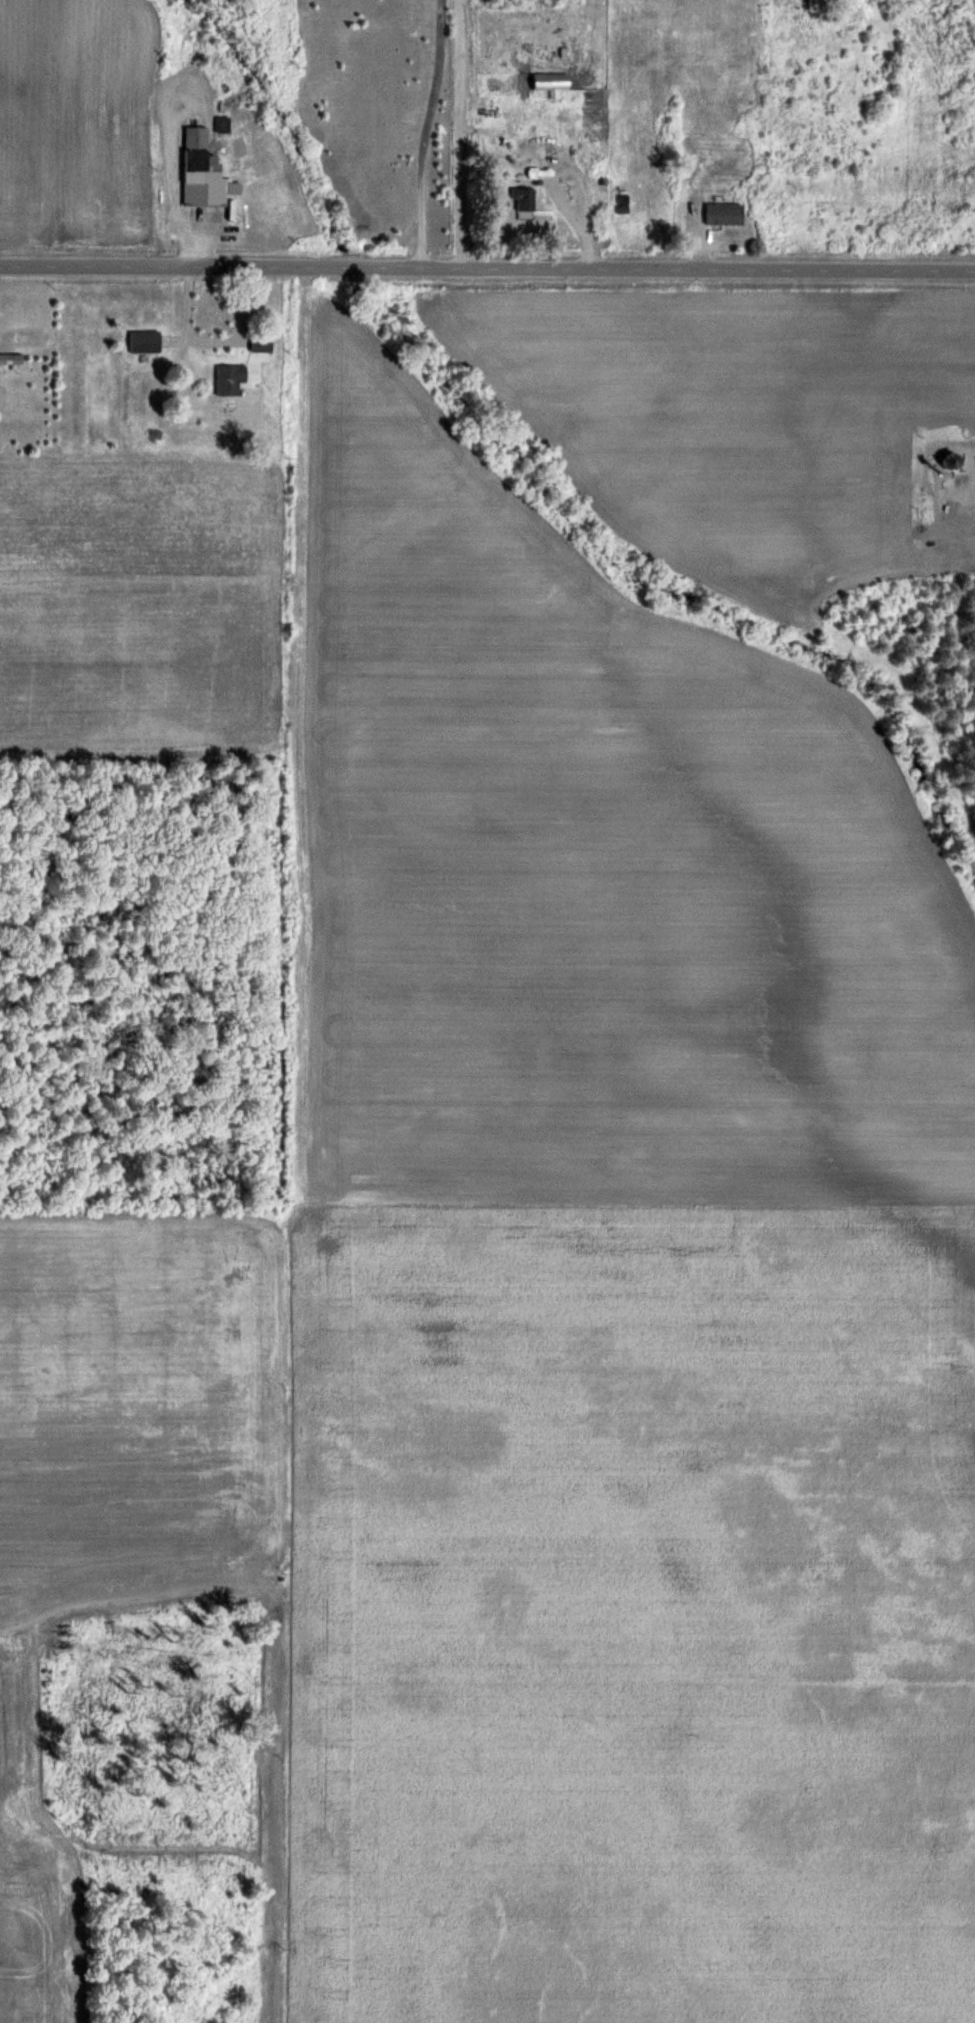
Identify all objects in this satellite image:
building: (551, 82)
building: (203, 171)
road: (548, 180)
building: (523, 199)
building: (724, 214)
road: (487, 270)
building: (145, 341)
building: (11, 359)
building: (230, 380)

